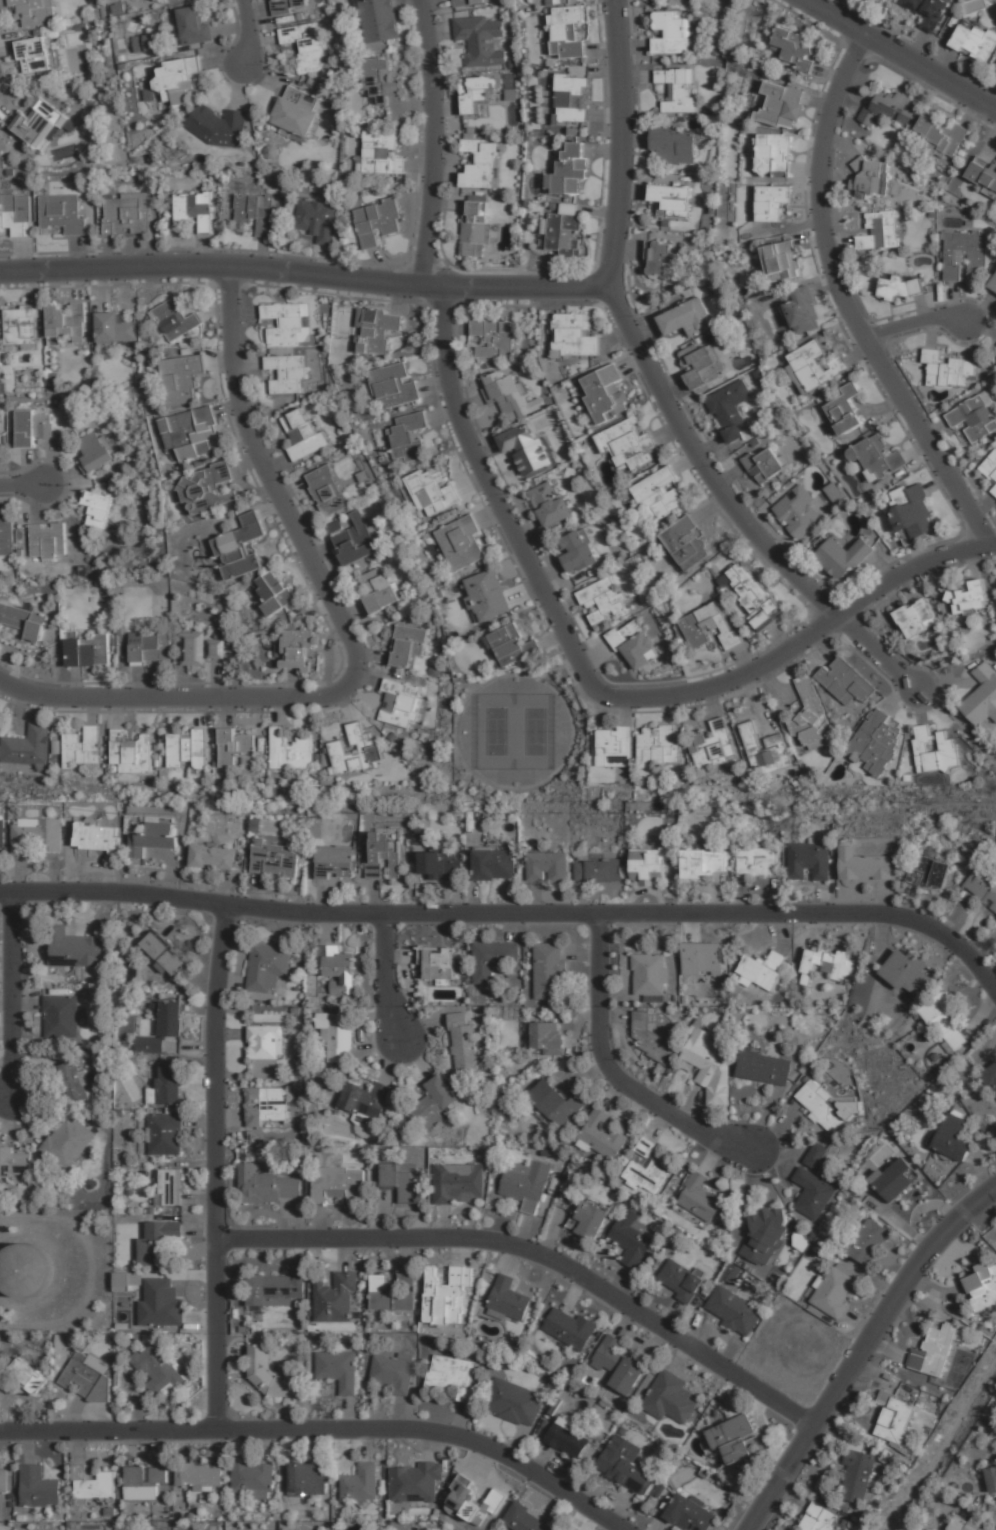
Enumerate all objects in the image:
building: (176, 0)
building: (884, 0)
building: (467, 1)
building: (287, 5)
building: (33, 11)
building: (929, 11)
building: (377, 21)
building: (193, 25)
building: (567, 31)
road: (249, 32)
building: (670, 33)
building: (480, 38)
building: (975, 39)
building: (144, 43)
building: (305, 44)
building: (793, 47)
road: (901, 53)
building: (35, 54)
building: (379, 78)
building: (176, 80)
building: (678, 87)
building: (475, 91)
building: (571, 98)
building: (782, 103)
building: (888, 107)
building: (294, 117)
building: (38, 122)
building: (218, 125)
building: (942, 134)
road: (433, 141)
road: (623, 142)
building: (674, 143)
building: (381, 152)
building: (773, 153)
building: (479, 162)
building: (569, 168)
building: (982, 173)
building: (871, 176)
building: (672, 199)
building: (772, 201)
building: (193, 208)
building: (254, 211)
building: (16, 212)
building: (62, 212)
building: (127, 213)
building: (317, 219)
building: (376, 221)
building: (475, 228)
building: (879, 229)
building: (565, 233)
building: (963, 253)
building: (658, 255)
building: (781, 259)
road: (305, 270)
building: (994, 283)
building: (899, 286)
road: (846, 301)
building: (802, 310)
building: (175, 318)
building: (686, 318)
road: (913, 321)
building: (65, 322)
building: (287, 322)
building: (21, 326)
building: (115, 327)
building: (374, 330)
building: (573, 335)
building: (494, 336)
building: (702, 364)
building: (816, 364)
building: (947, 367)
building: (286, 372)
building: (182, 378)
building: (394, 385)
building: (606, 392)
building: (508, 394)
building: (846, 408)
building: (730, 409)
building: (975, 415)
building: (33, 426)
building: (188, 432)
building: (302, 435)
building: (407, 437)
building: (630, 442)
building: (527, 448)
building: (92, 450)
building: (877, 456)
building: (765, 464)
building: (990, 465)
building: (365, 470)
road: (269, 476)
road: (30, 482)
building: (994, 488)
building: (207, 489)
building: (326, 490)
building: (834, 491)
building: (432, 492)
building: (660, 493)
road: (496, 496)
building: (551, 502)
road: (735, 506)
building: (97, 507)
building: (798, 510)
building: (912, 513)
building: (334, 526)
building: (6, 535)
building: (355, 540)
building: (47, 541)
building: (461, 543)
building: (685, 543)
building: (241, 546)
building: (577, 550)
building: (844, 556)
building: (379, 590)
building: (274, 591)
building: (751, 594)
building: (486, 595)
building: (969, 598)
building: (602, 599)
building: (916, 618)
building: (23, 620)
building: (709, 625)
road: (803, 638)
building: (407, 644)
building: (634, 644)
building: (150, 646)
building: (510, 647)
building: (192, 648)
building: (214, 648)
building: (296, 649)
building: (87, 651)
building: (844, 681)
road: (179, 695)
building: (981, 696)
building: (400, 702)
building: (809, 716)
road: (959, 719)
park: (497, 729)
park: (536, 729)
park: (520, 737)
building: (876, 741)
building: (657, 745)
building: (711, 745)
building: (27, 746)
building: (613, 747)
building: (235, 748)
building: (82, 749)
building: (187, 749)
building: (369, 749)
building: (764, 749)
building: (288, 750)
building: (934, 750)
building: (130, 752)
building: (1, 833)
building: (35, 836)
building: (96, 837)
building: (152, 838)
building: (212, 856)
building: (383, 856)
building: (275, 859)
building: (808, 860)
building: (334, 861)
building: (494, 862)
building: (756, 862)
building: (702, 863)
building: (648, 864)
building: (862, 865)
building: (439, 866)
building: (548, 866)
building: (597, 870)
building: (930, 872)
building: (982, 886)
road: (512, 911)
building: (74, 948)
building: (163, 954)
building: (703, 958)
building: (492, 959)
building: (437, 961)
building: (826, 963)
building: (266, 966)
building: (338, 967)
building: (763, 968)
building: (549, 971)
road: (383, 973)
building: (650, 973)
building: (908, 973)
road: (12, 1002)
building: (60, 1016)
building: (946, 1023)
building: (123, 1028)
building: (162, 1029)
building: (337, 1034)
building: (547, 1038)
building: (650, 1040)
building: (265, 1042)
building: (464, 1042)
building: (704, 1056)
building: (765, 1069)
road: (612, 1070)
building: (991, 1077)
building: (73, 1082)
building: (169, 1083)
building: (152, 1095)
building: (365, 1099)
building: (436, 1101)
building: (557, 1103)
building: (825, 1103)
building: (267, 1105)
building: (165, 1134)
building: (602, 1136)
building: (952, 1137)
building: (67, 1142)
building: (816, 1156)
building: (14, 1163)
road: (216, 1164)
building: (648, 1169)
building: (397, 1178)
building: (894, 1179)
building: (455, 1183)
building: (339, 1184)
building: (526, 1184)
building: (169, 1187)
building: (267, 1187)
building: (812, 1193)
building: (700, 1198)
building: (589, 1219)
building: (765, 1235)
building: (633, 1239)
building: (157, 1240)
building: (868, 1241)
road: (539, 1252)
building: (24, 1270)
storage tank: (24, 1270)
building: (680, 1280)
building: (982, 1285)
building: (270, 1290)
building: (391, 1291)
building: (835, 1291)
building: (446, 1294)
building: (334, 1297)
building: (510, 1299)
building: (160, 1303)
building: (734, 1310)
building: (569, 1328)
building: (64, 1340)
road: (861, 1349)
building: (936, 1349)
building: (259, 1360)
building: (619, 1365)
building: (157, 1369)
building: (338, 1369)
building: (393, 1370)
building: (26, 1375)
building: (452, 1375)
building: (88, 1376)
building: (670, 1398)
building: (514, 1402)
building: (896, 1419)
road: (326, 1428)
building: (732, 1437)
building: (568, 1438)
building: (624, 1464)
building: (196, 1474)
building: (858, 1475)
building: (251, 1477)
building: (306, 1477)
building: (991, 1477)
building: (2, 1480)
building: (414, 1481)
building: (142, 1482)
building: (359, 1482)
building: (92, 1485)
building: (36, 1486)
building: (472, 1501)
building: (691, 1513)
building: (819, 1517)
building: (522, 1518)
building: (965, 1523)
building: (562, 1529)

